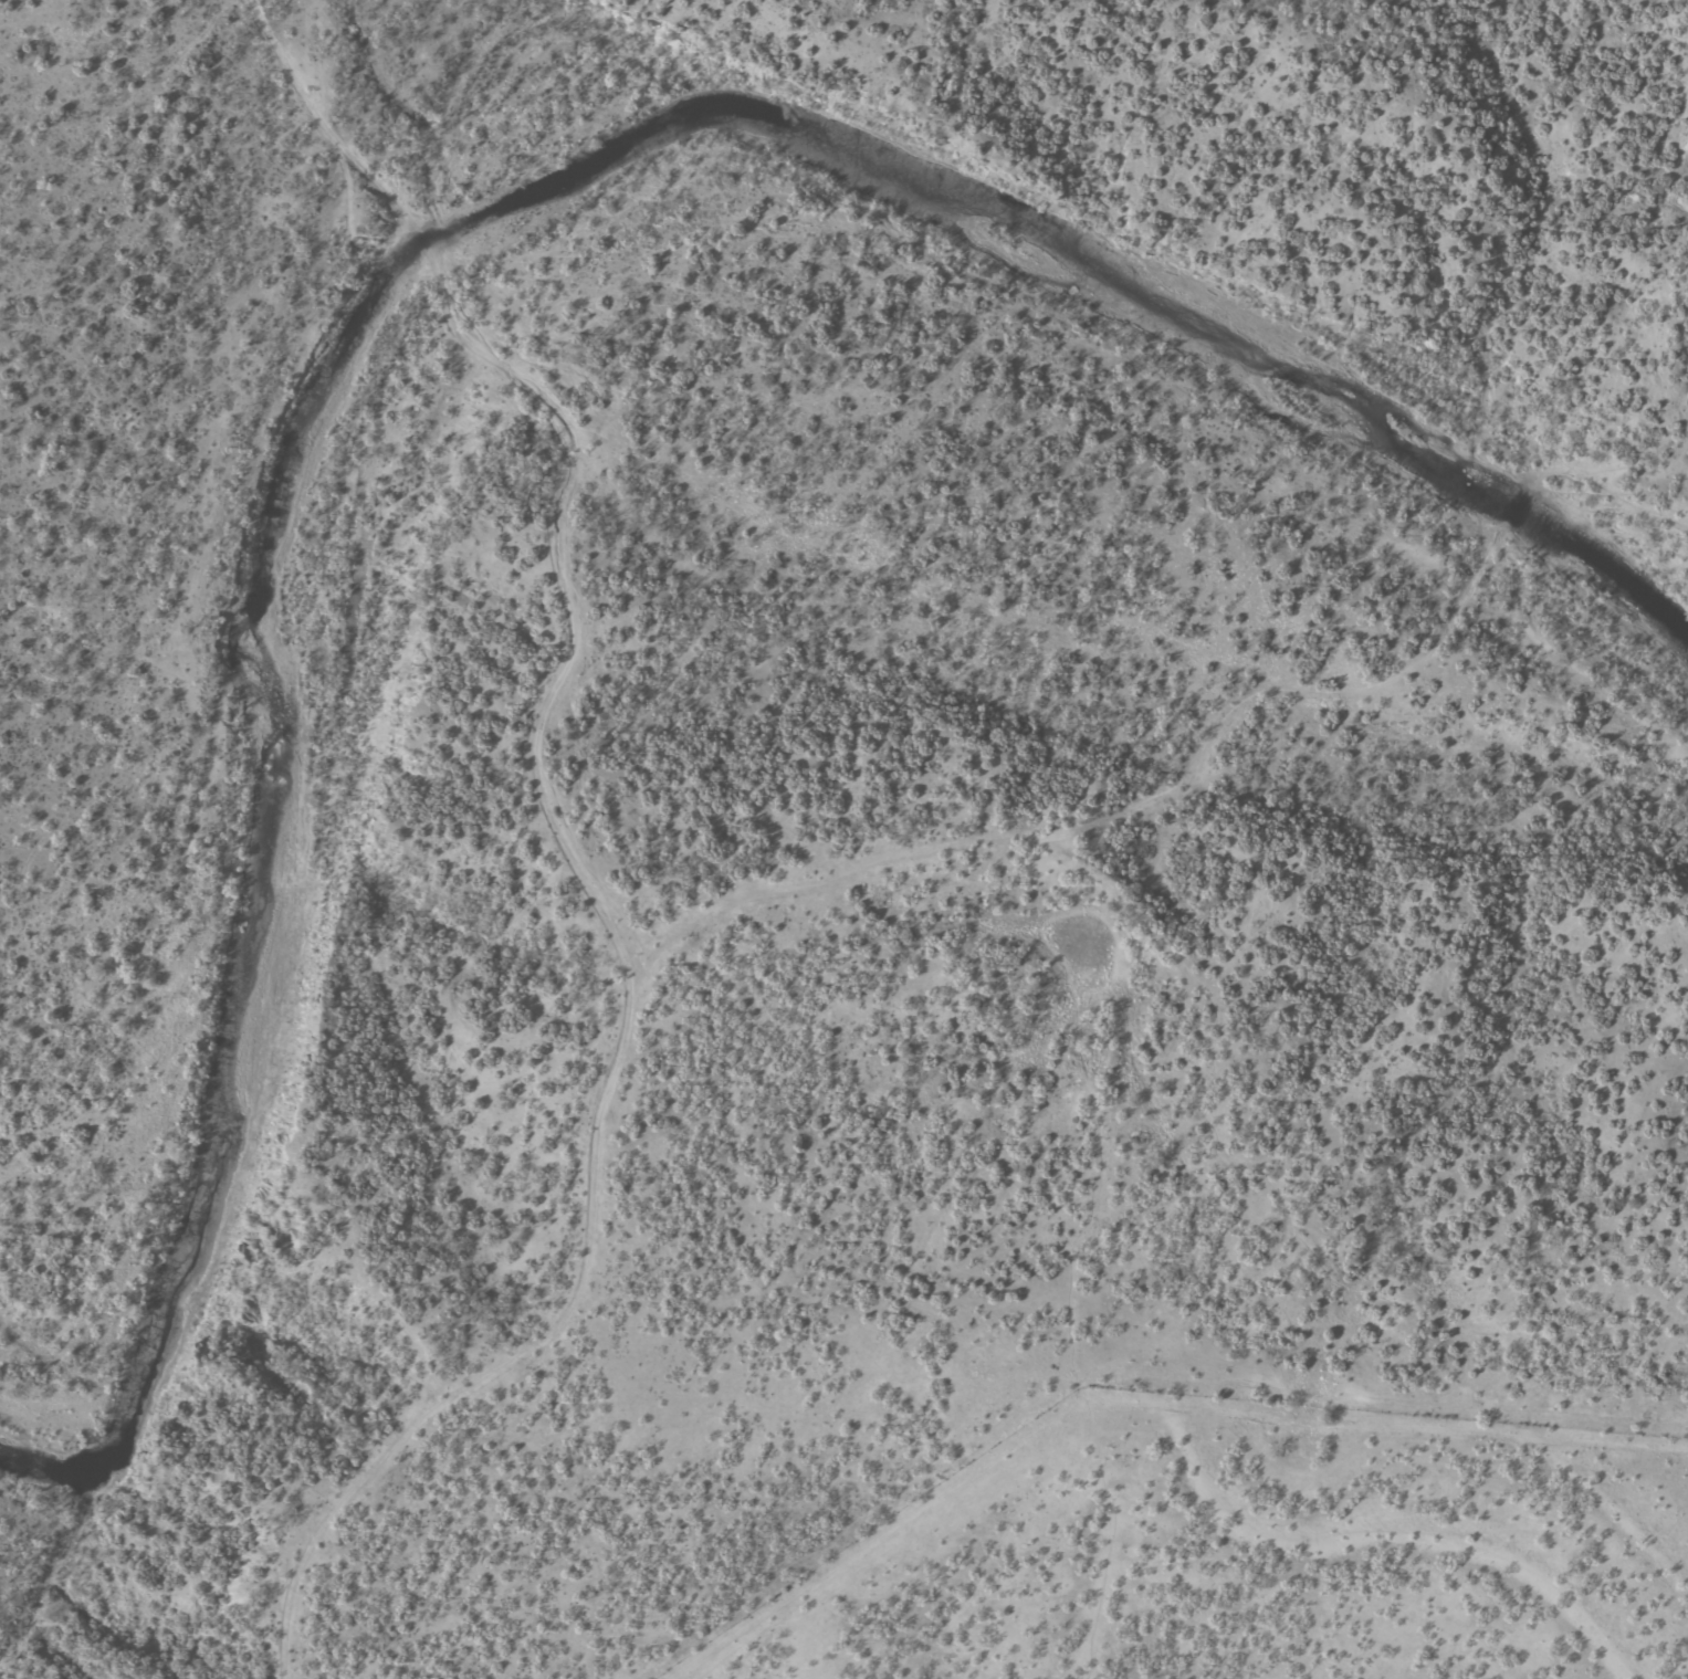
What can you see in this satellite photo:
river: (448, 242)
road: (679, 923)
road: (431, 1329)

